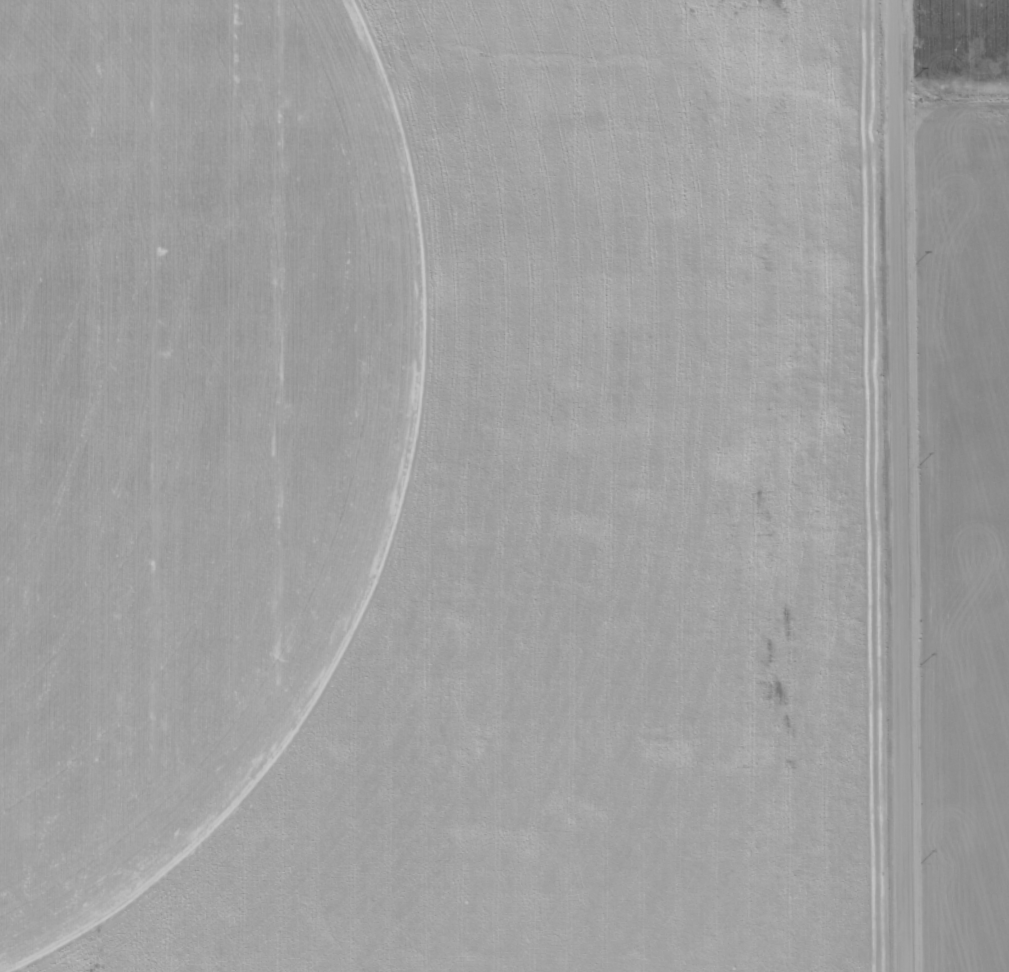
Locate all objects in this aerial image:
road: (900, 485)

